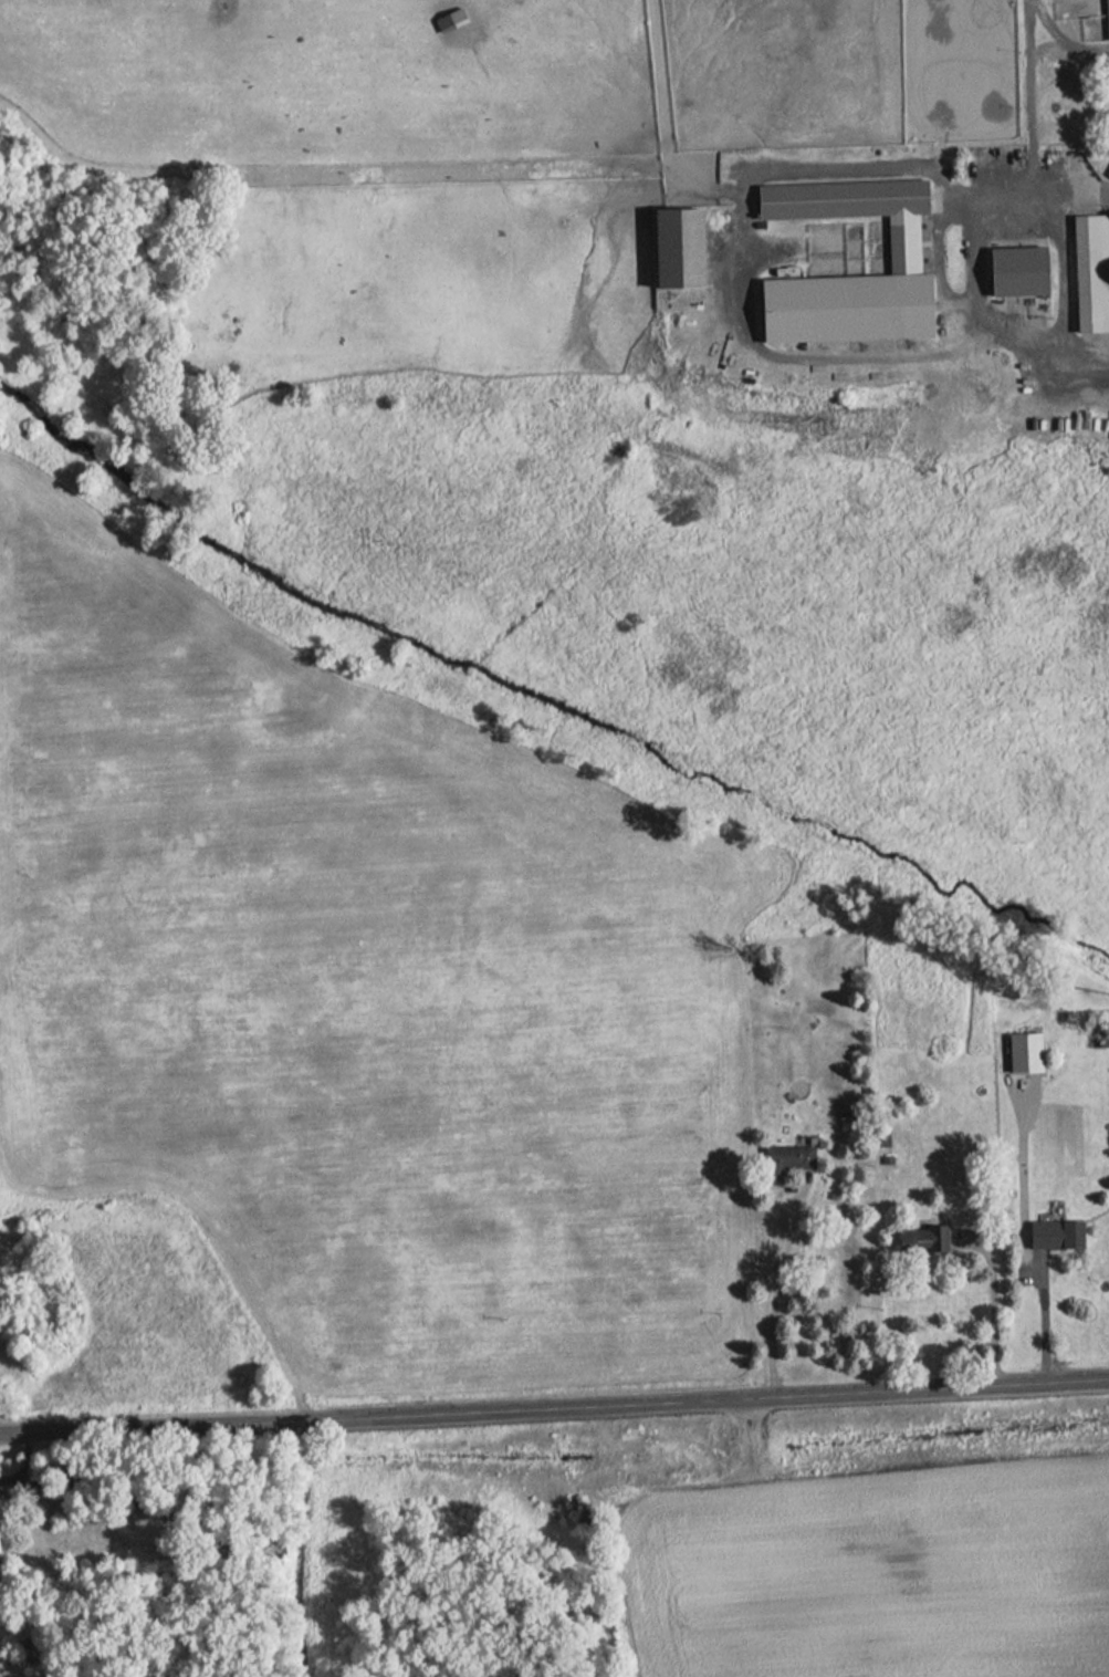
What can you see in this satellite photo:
building: (1086, 15)
road: (1067, 33)
building: (1107, 168)
road: (918, 185)
building: (838, 198)
building: (671, 247)
building: (1017, 264)
building: (1090, 271)
road: (970, 292)
building: (840, 306)
building: (783, 1158)
building: (1052, 1233)
road: (775, 1290)
road: (995, 1309)
road: (1045, 1321)
road: (554, 1408)
building: (2, 1550)

